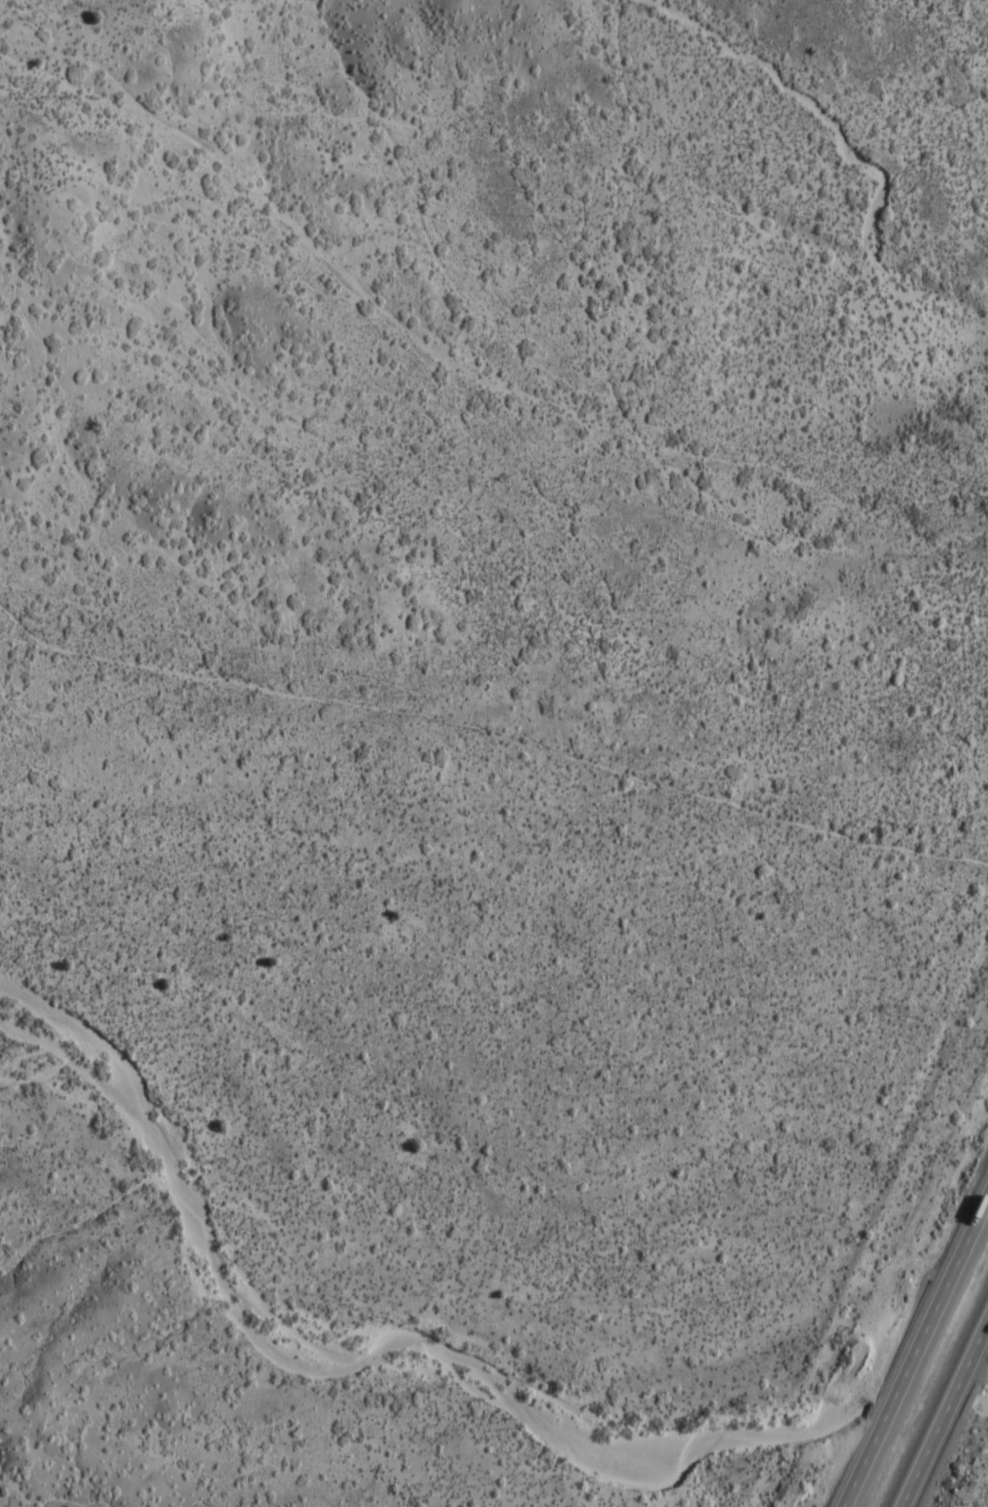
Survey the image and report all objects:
road: (404, 325)
road: (915, 1349)
river: (353, 1350)
river: (980, 1397)
river: (920, 1404)
road: (944, 1413)

